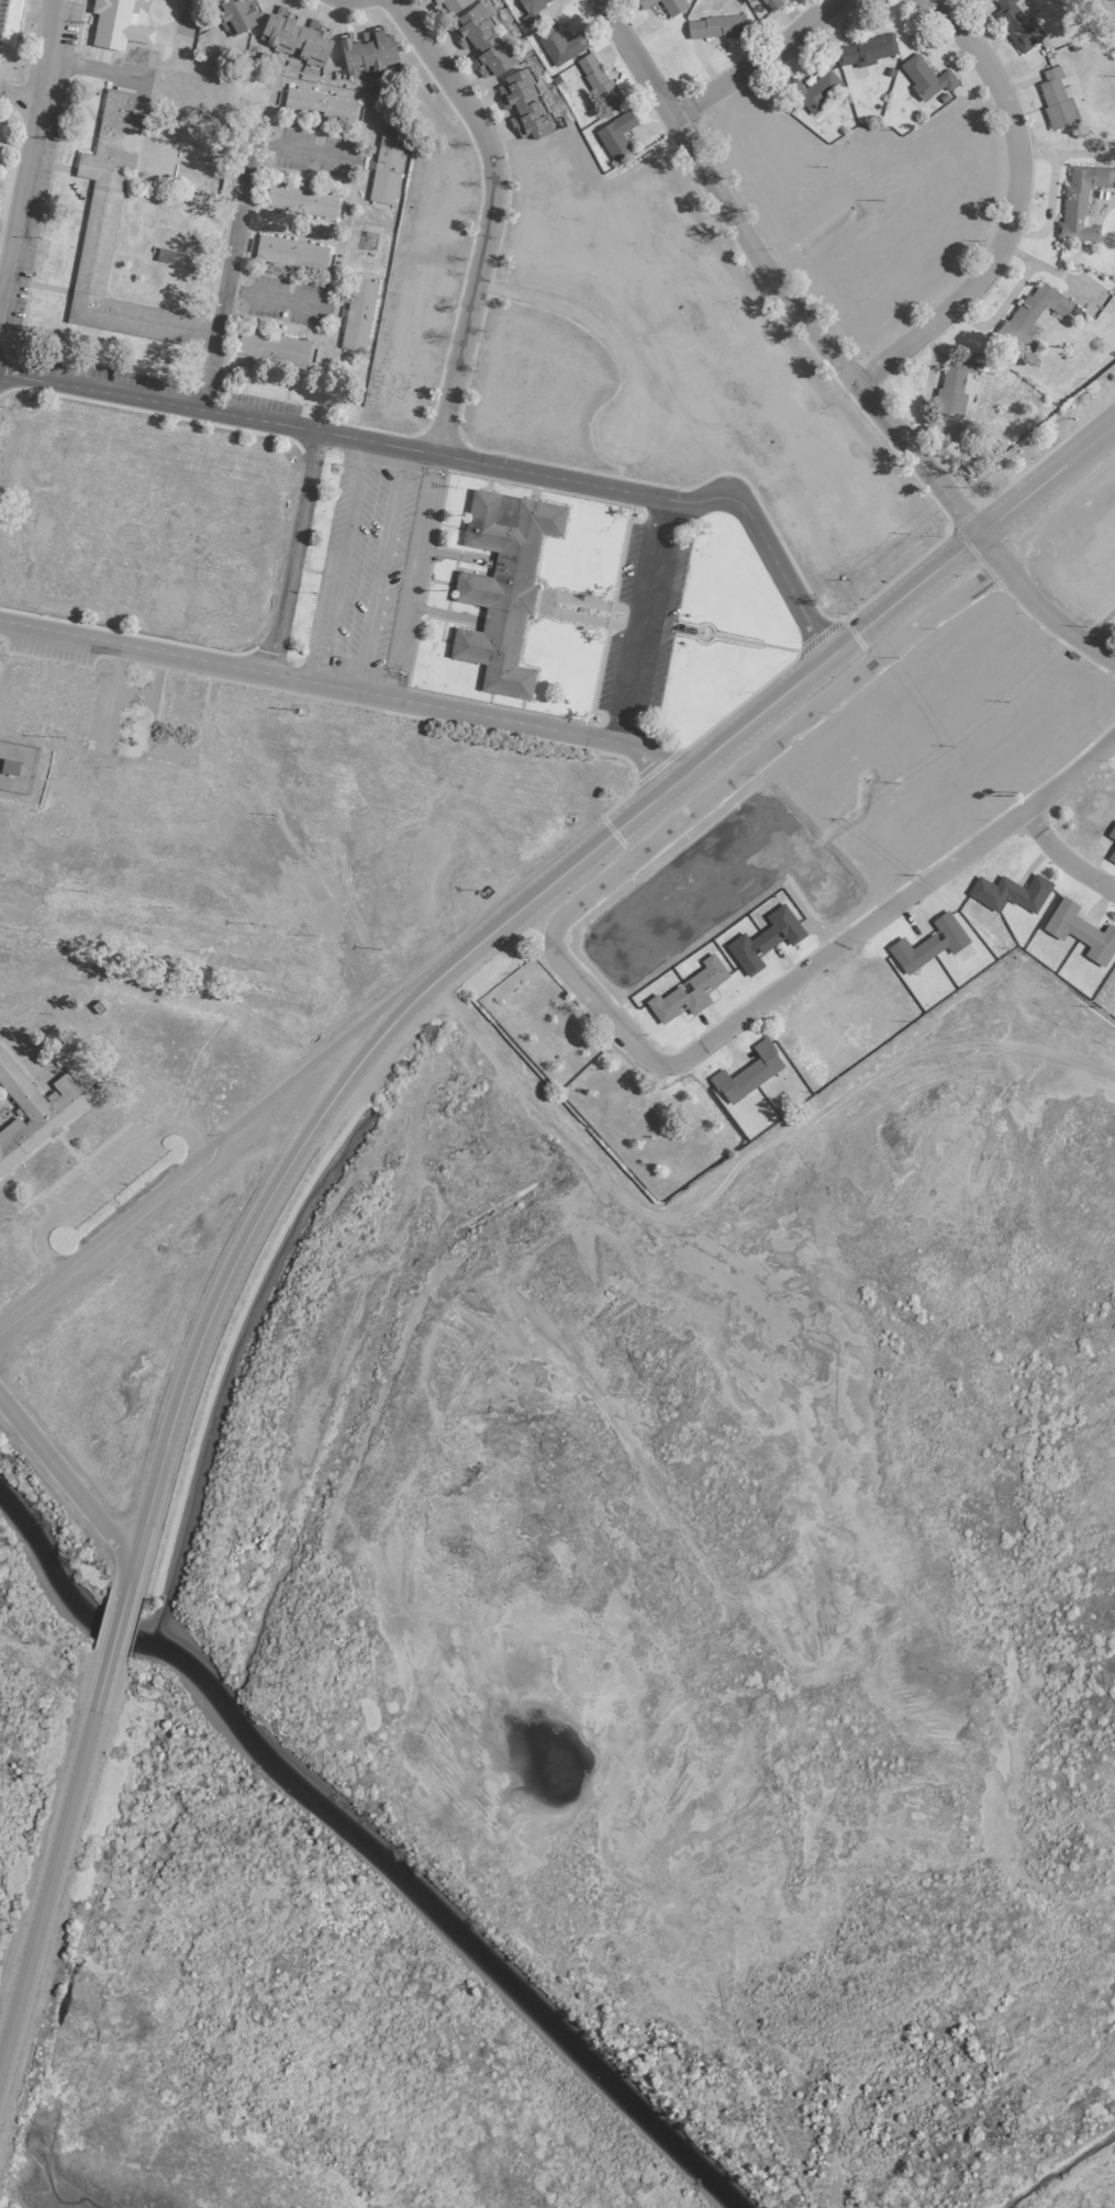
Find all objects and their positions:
building: (644, 2)
building: (770, 3)
building: (449, 4)
building: (672, 5)
building: (529, 11)
building: (236, 15)
building: (115, 24)
building: (1016, 25)
building: (714, 26)
building: (294, 36)
building: (482, 41)
building: (558, 44)
building: (367, 51)
building: (861, 53)
road: (752, 65)
building: (923, 79)
building: (596, 80)
building: (814, 92)
road: (20, 97)
building: (1055, 99)
building: (317, 103)
building: (522, 104)
building: (762, 127)
building: (962, 135)
building: (614, 136)
road: (30, 150)
building: (386, 167)
building: (957, 198)
building: (299, 199)
building: (1079, 201)
road: (237, 202)
building: (773, 203)
road: (1003, 207)
road: (487, 215)
building: (96, 238)
building: (289, 253)
building: (825, 259)
building: (928, 263)
building: (868, 300)
building: (357, 314)
building: (1030, 314)
road: (594, 322)
road: (212, 344)
building: (270, 347)
road: (833, 350)
building: (951, 388)
road: (458, 458)
road: (291, 554)
road: (338, 562)
road: (378, 569)
building: (501, 584)
road: (645, 621)
flagpole: (701, 634)
road: (902, 642)
building: (1001, 644)
building: (935, 688)
road: (344, 689)
building: (1056, 712)
building: (888, 726)
building: (819, 762)
building: (9, 766)
road: (673, 802)
building: (1103, 817)
building: (747, 827)
building: (916, 827)
road: (1063, 856)
road: (556, 878)
building: (682, 879)
building: (835, 880)
building: (1008, 892)
building: (845, 894)
road: (893, 906)
building: (1080, 930)
road: (551, 934)
building: (623, 936)
building: (763, 939)
building: (928, 943)
building: (687, 991)
building: (869, 1002)
building: (1113, 1010)
building: (821, 1039)
building: (747, 1072)
building: (46, 1099)
airport: (557, 1104)
road: (100, 1177)
road: (223, 1282)
road: (65, 1482)
road: (126, 1576)
road: (115, 1621)
road: (53, 1855)

